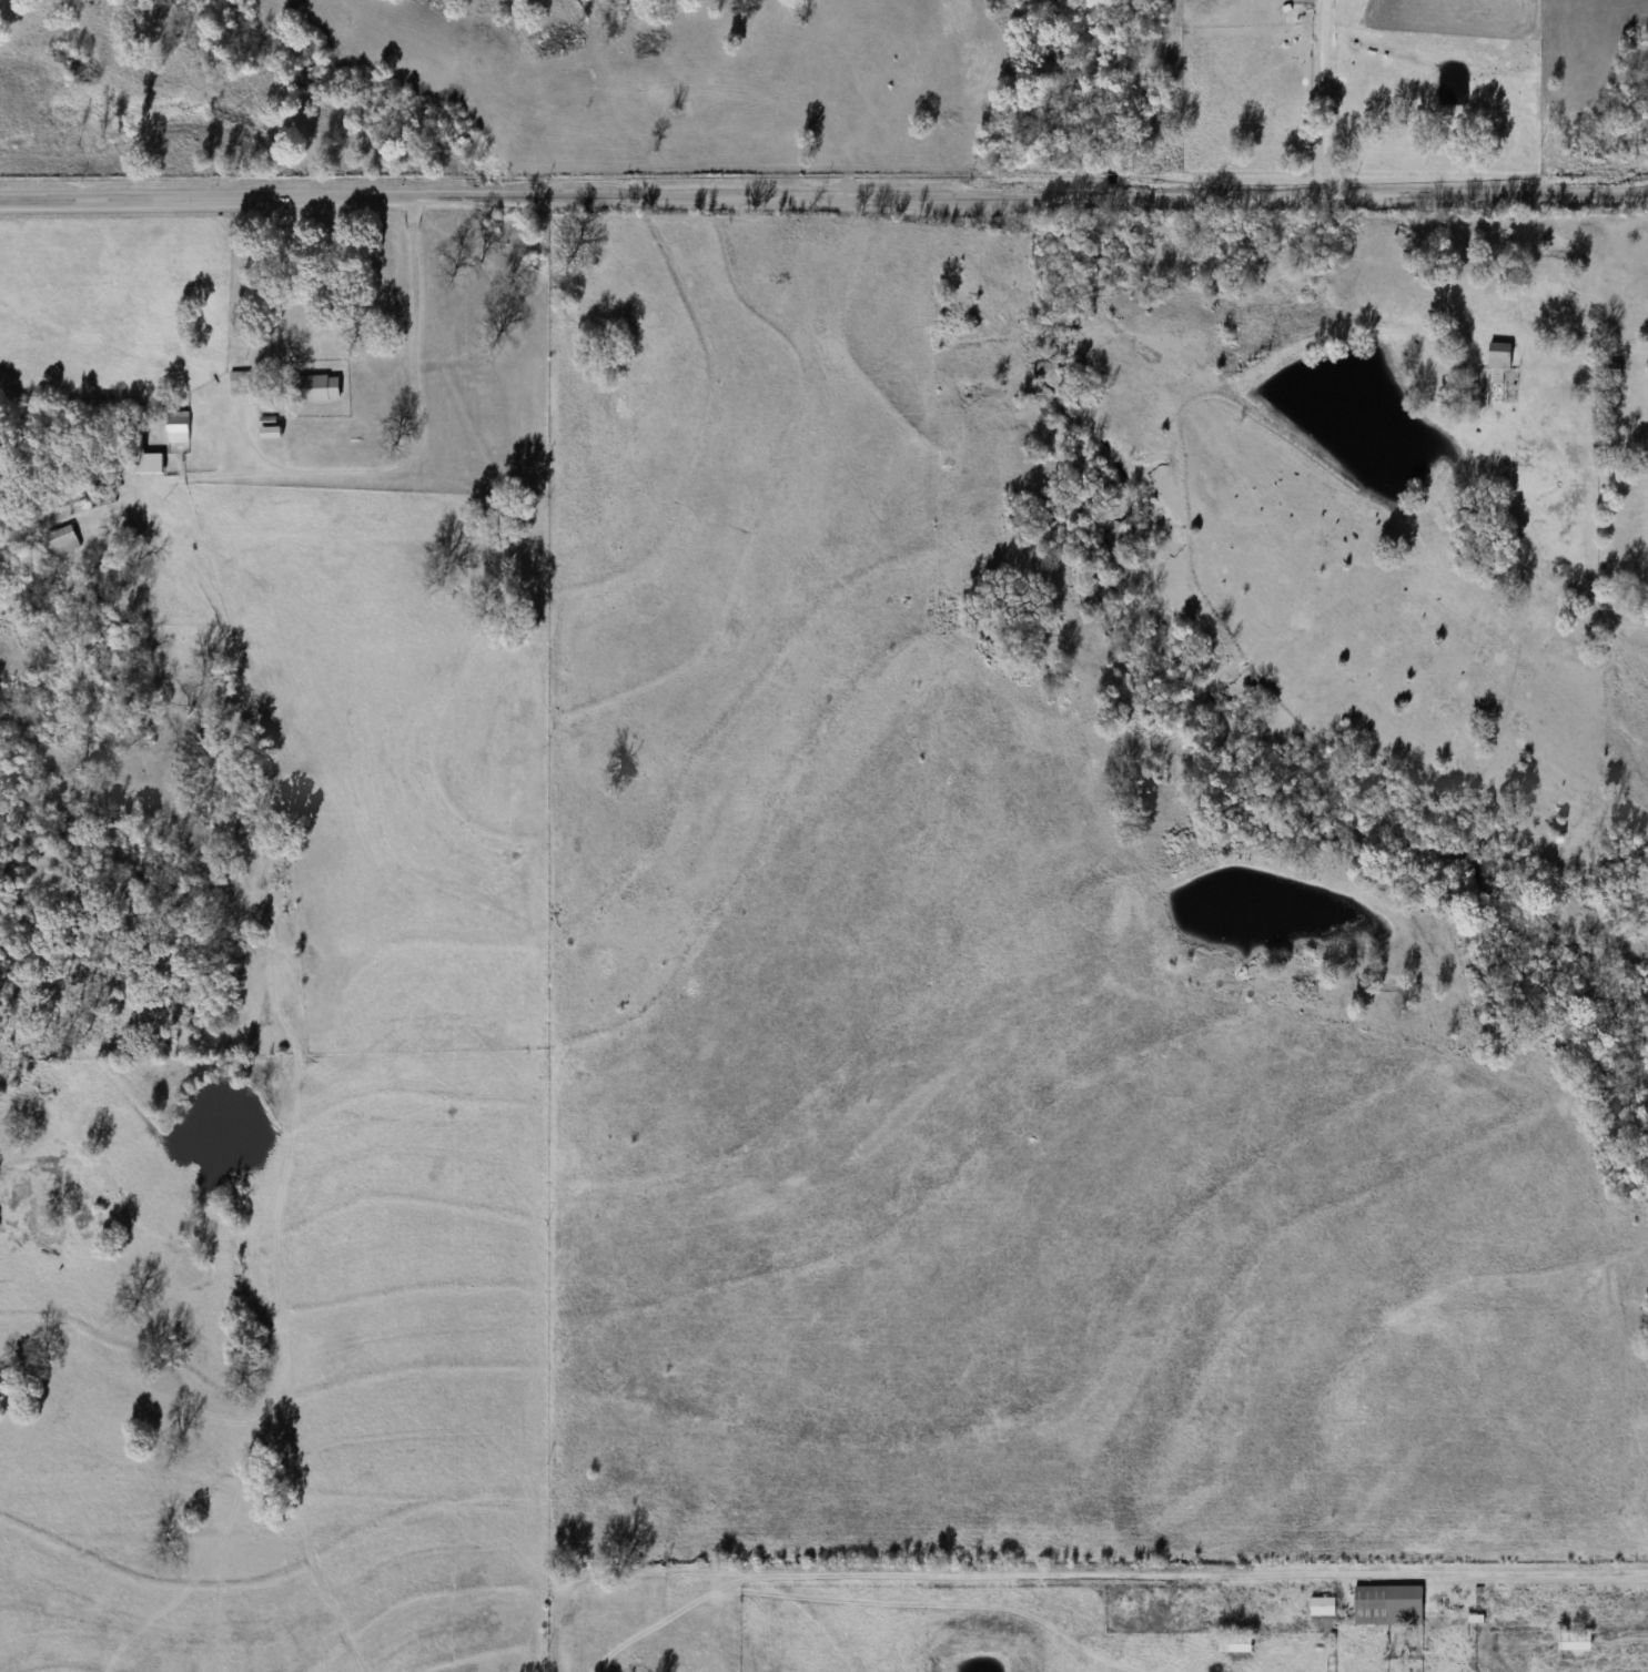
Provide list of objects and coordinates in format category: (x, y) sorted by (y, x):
road: (1334, 8)
road: (1329, 104)
road: (823, 203)
building: (1499, 356)
building: (239, 383)
building: (314, 388)
road: (422, 426)
building: (178, 427)
building: (146, 459)
building: (63, 539)
road: (1065, 1577)
building: (1323, 1605)
building: (1388, 1605)
building: (1574, 1641)
building: (1234, 1642)

